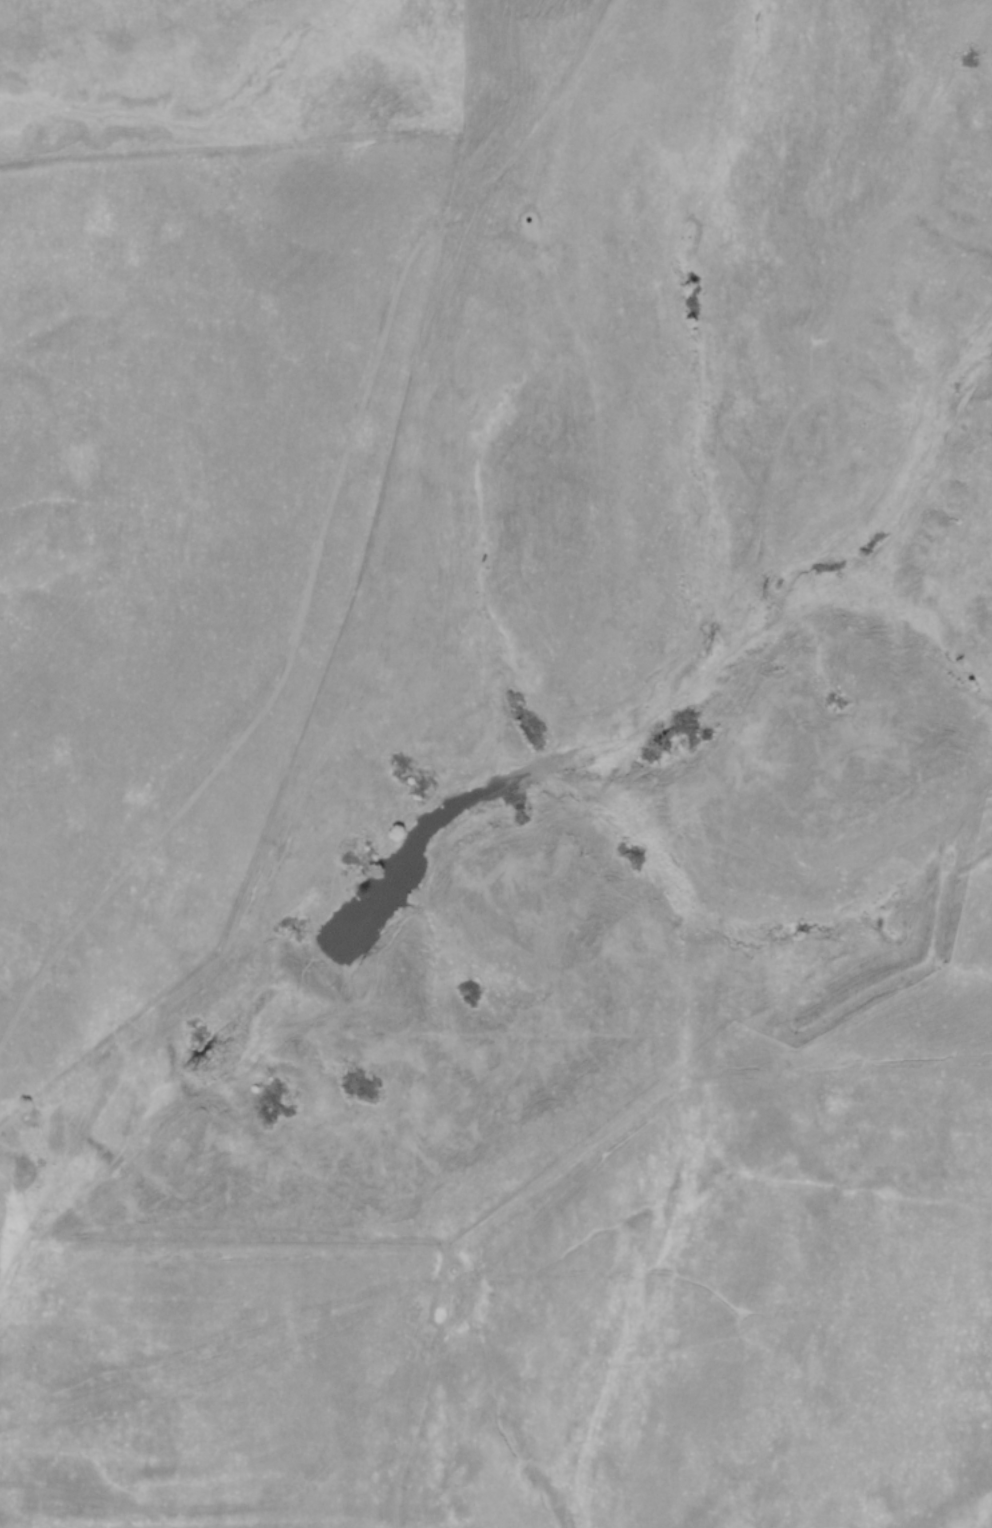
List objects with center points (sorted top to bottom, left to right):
road: (0, 1358)

